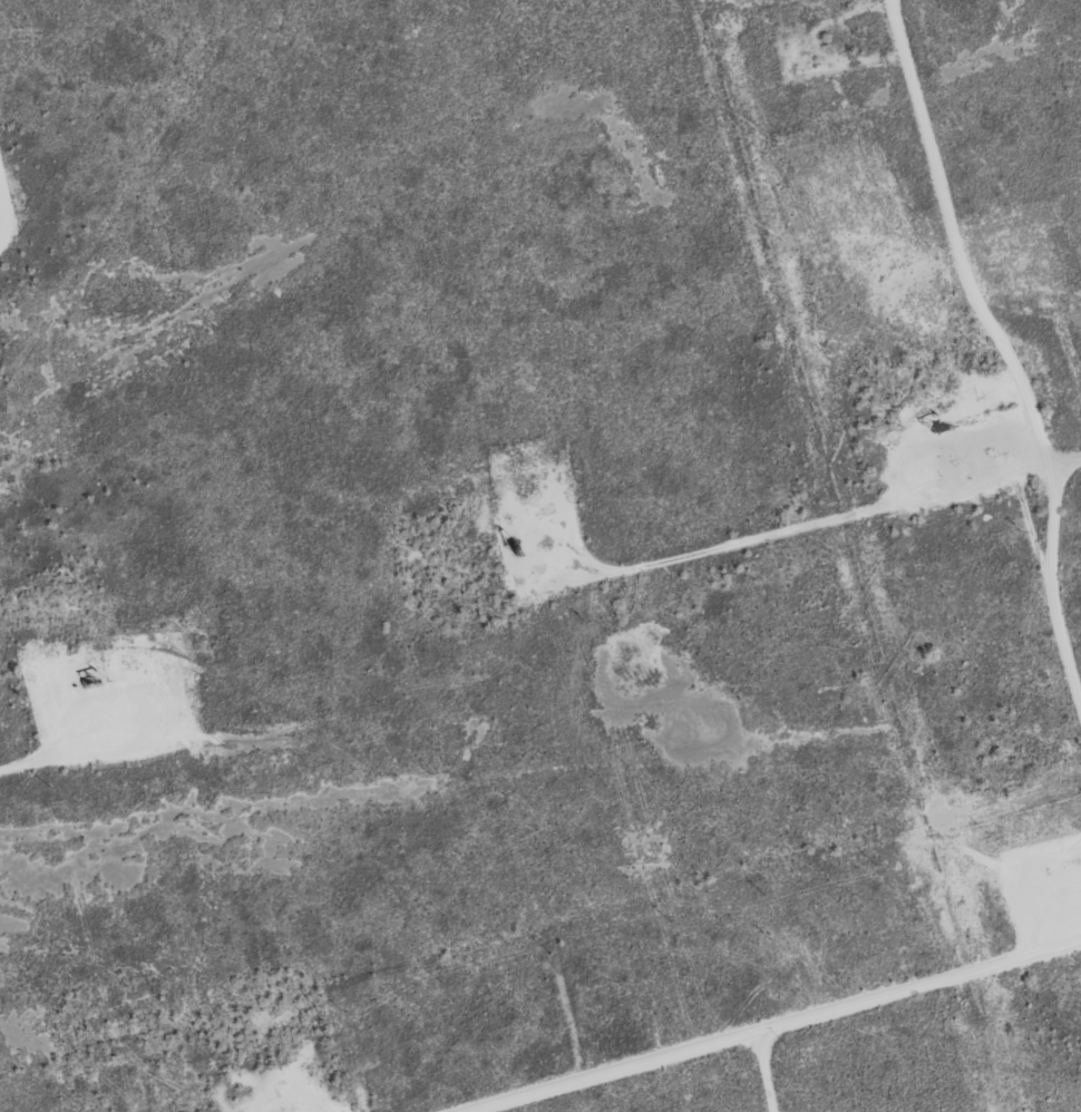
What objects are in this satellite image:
road: (1012, 345)
road: (767, 1023)

